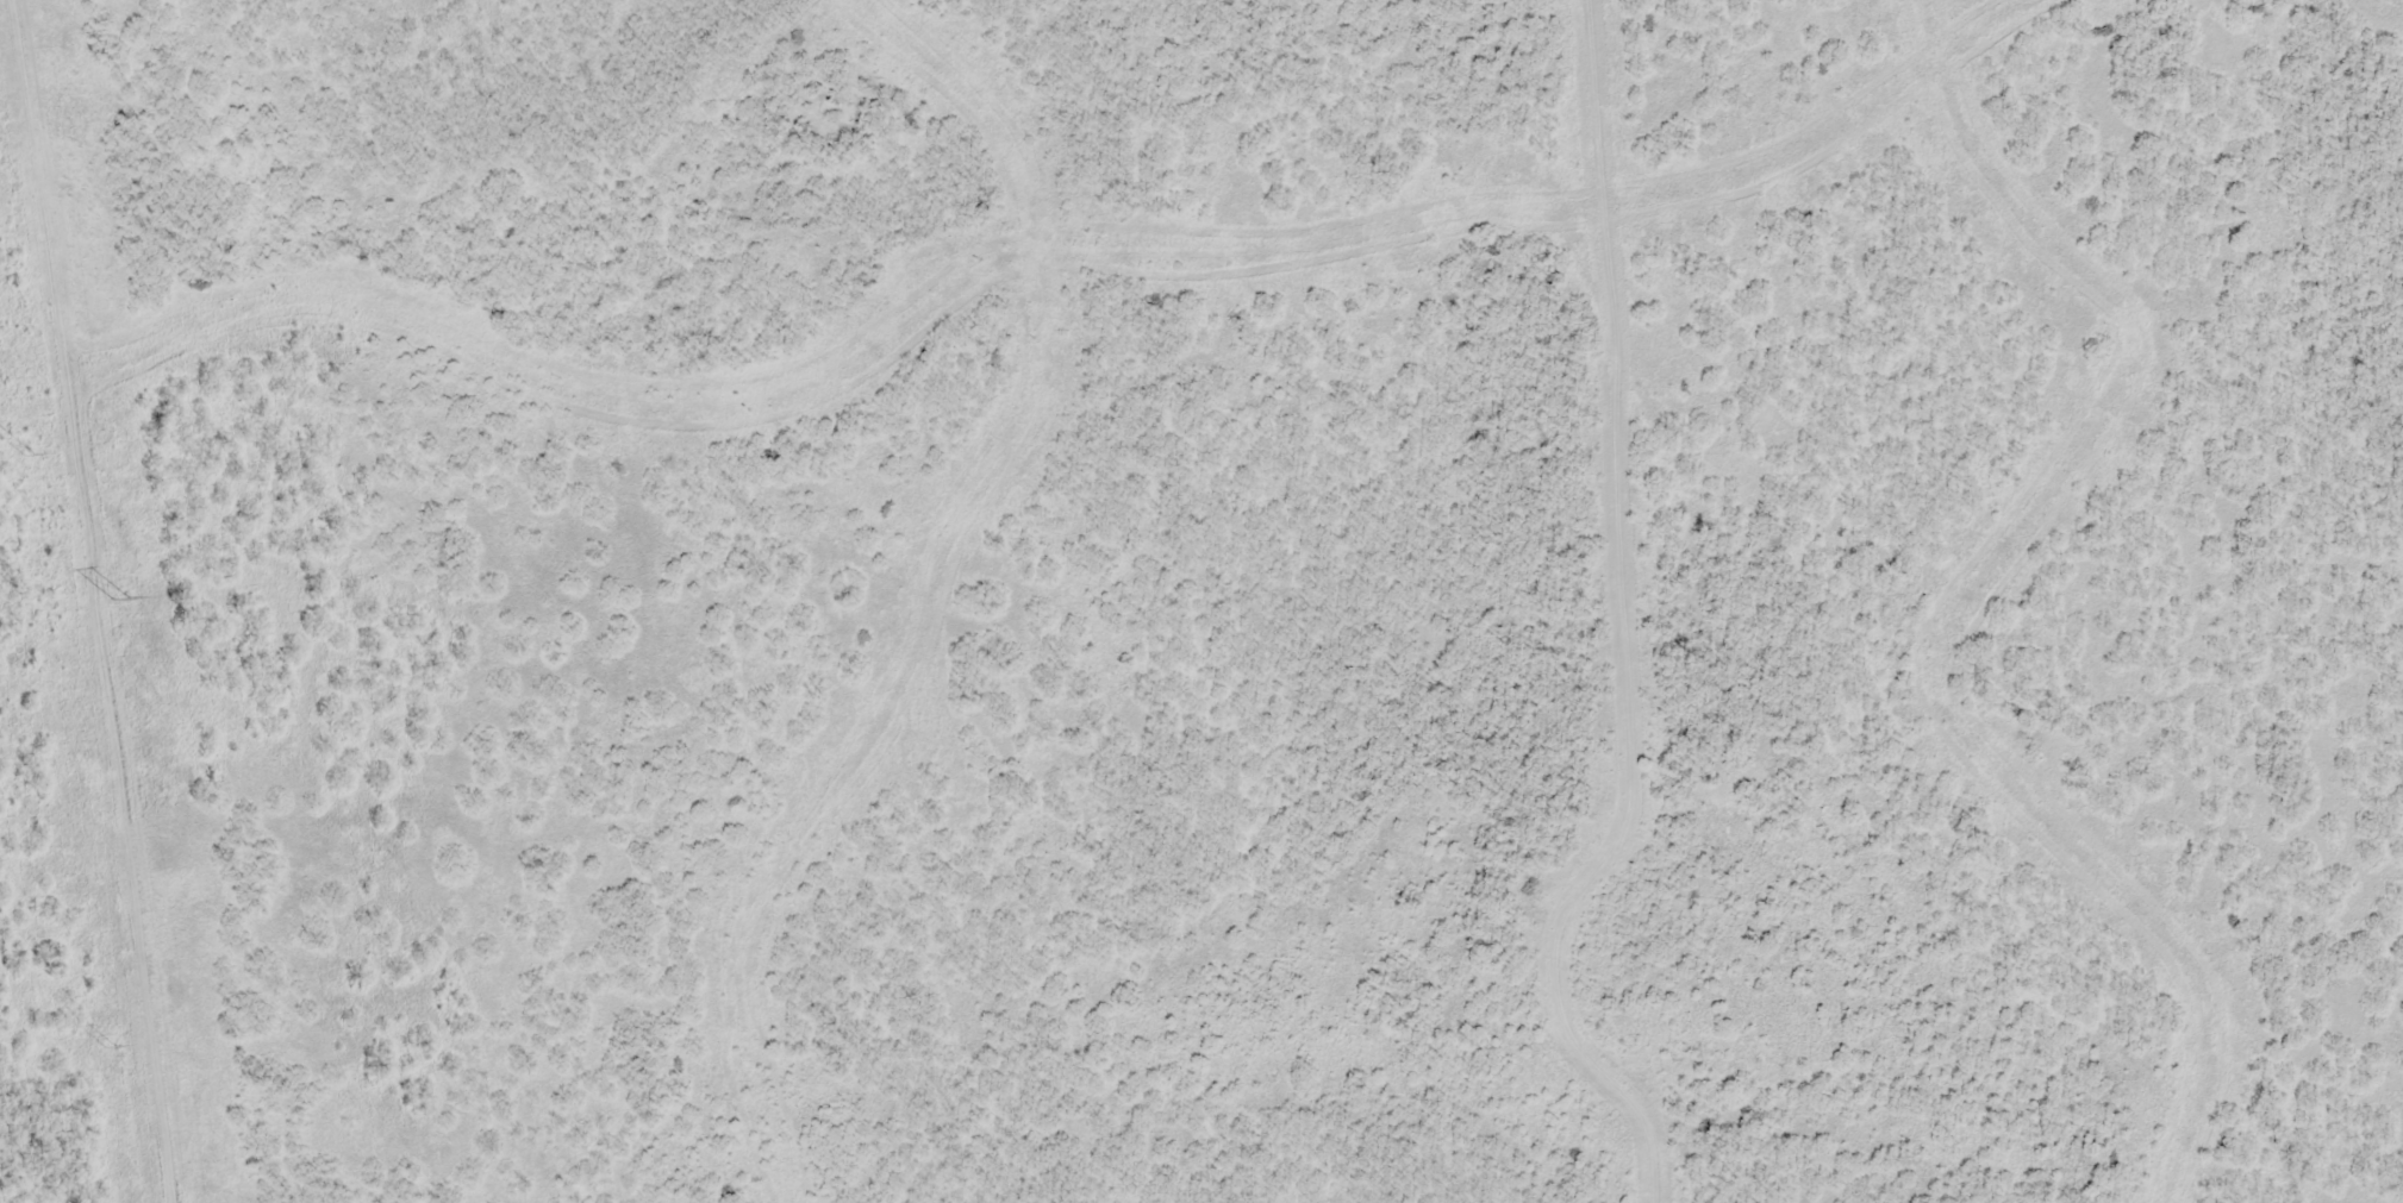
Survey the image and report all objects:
power tower: (26, 456)
power tower: (119, 599)
road: (1569, 601)
power tower: (110, 1046)

